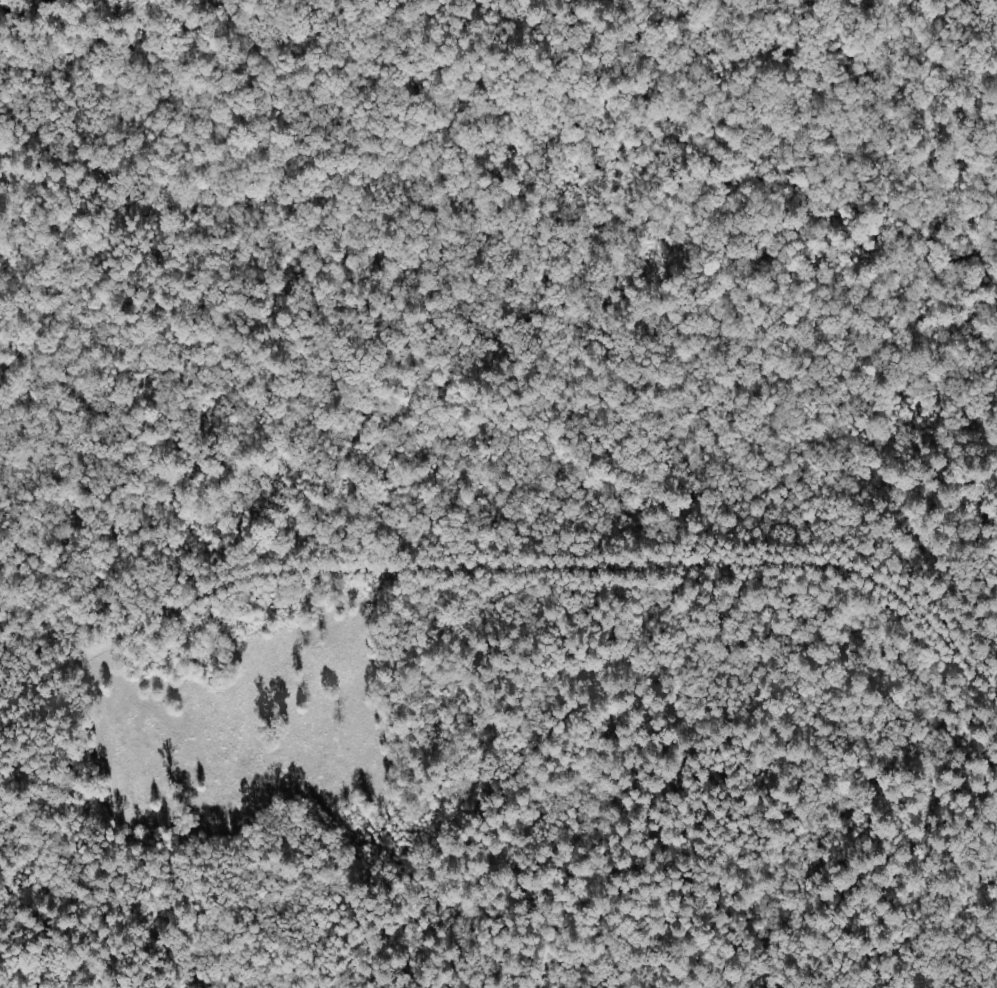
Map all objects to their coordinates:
road: (498, 567)

